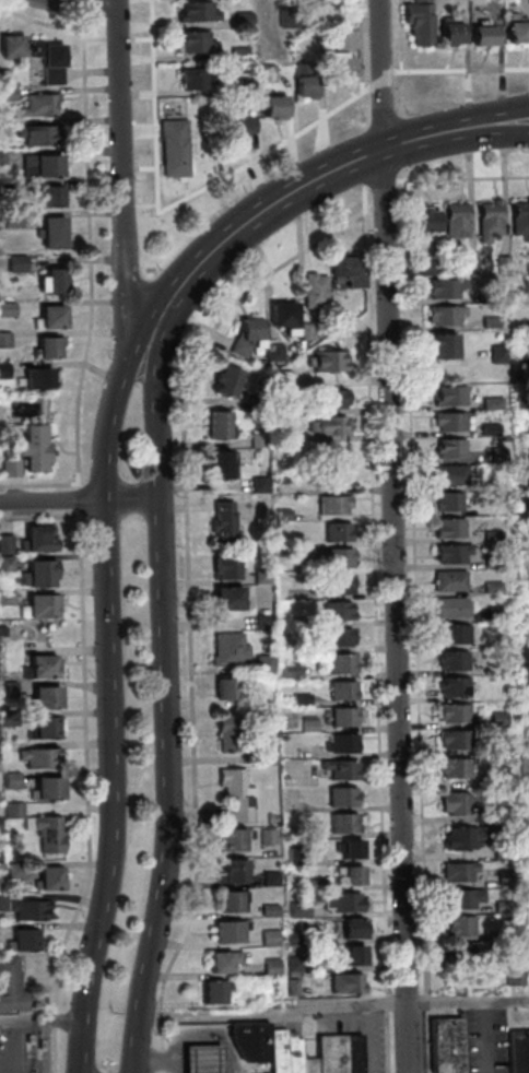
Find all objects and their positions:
road: (83, 1)
building: (311, 2)
road: (80, 5)
building: (195, 12)
building: (242, 17)
building: (287, 17)
road: (38, 22)
building: (416, 22)
building: (447, 32)
building: (514, 34)
building: (481, 36)
road: (139, 38)
road: (92, 39)
road: (115, 39)
building: (342, 39)
building: (192, 43)
building: (10, 48)
building: (236, 55)
road: (398, 59)
building: (47, 61)
building: (337, 66)
road: (361, 66)
road: (459, 70)
building: (264, 73)
building: (3, 76)
building: (192, 79)
road: (379, 82)
building: (244, 85)
building: (303, 86)
building: (7, 94)
building: (37, 105)
building: (271, 107)
road: (513, 121)
building: (234, 128)
road: (513, 129)
building: (35, 134)
road: (401, 143)
building: (172, 148)
building: (0, 156)
road: (362, 158)
building: (39, 166)
road: (120, 169)
road: (461, 178)
road: (379, 184)
road: (298, 189)
road: (364, 189)
building: (45, 198)
road: (377, 205)
road: (168, 207)
building: (11, 220)
building: (519, 220)
building: (423, 221)
building: (486, 221)
building: (452, 223)
building: (50, 233)
road: (86, 250)
building: (14, 262)
building: (528, 262)
building: (501, 263)
building: (466, 266)
building: (425, 268)
building: (344, 271)
building: (50, 282)
building: (443, 287)
building: (313, 291)
building: (490, 295)
building: (5, 309)
building: (443, 315)
building: (282, 318)
building: (48, 319)
building: (489, 322)
building: (522, 322)
building: (304, 331)
building: (246, 337)
building: (3, 340)
building: (440, 347)
building: (46, 349)
building: (272, 352)
building: (496, 353)
building: (326, 362)
building: (258, 363)
building: (2, 369)
building: (522, 375)
building: (280, 378)
building: (35, 379)
building: (224, 382)
building: (448, 394)
building: (331, 399)
building: (490, 402)
building: (521, 402)
building: (254, 403)
building: (278, 409)
building: (448, 422)
building: (215, 426)
building: (329, 426)
building: (527, 428)
building: (487, 429)
building: (279, 436)
building: (256, 440)
building: (449, 448)
building: (32, 449)
building: (527, 455)
building: (219, 464)
building: (9, 469)
building: (448, 475)
building: (330, 479)
building: (487, 483)
building: (527, 483)
road: (37, 484)
building: (256, 484)
road: (75, 499)
road: (79, 499)
building: (446, 502)
building: (331, 505)
building: (524, 505)
road: (38, 516)
building: (221, 521)
building: (447, 528)
building: (334, 532)
building: (491, 535)
road: (391, 536)
building: (36, 540)
building: (4, 544)
building: (449, 554)
building: (331, 557)
building: (495, 562)
building: (4, 563)
building: (223, 569)
building: (37, 574)
building: (259, 576)
building: (447, 581)
building: (338, 585)
building: (490, 588)
building: (5, 598)
road: (186, 599)
building: (225, 600)
building: (37, 606)
building: (448, 608)
building: (334, 612)
building: (493, 613)
building: (293, 621)
road: (413, 621)
building: (260, 622)
building: (528, 626)
road: (373, 628)
building: (1, 630)
building: (452, 635)
building: (334, 638)
building: (226, 650)
building: (451, 661)
building: (261, 664)
building: (338, 664)
building: (37, 669)
building: (287, 671)
building: (527, 684)
building: (452, 687)
building: (7, 689)
building: (226, 689)
building: (340, 691)
road: (107, 697)
building: (40, 698)
building: (298, 699)
road: (164, 703)
building: (451, 714)
building: (526, 715)
building: (343, 717)
building: (7, 718)
building: (496, 719)
building: (306, 724)
building: (43, 729)
road: (83, 734)
building: (226, 734)
building: (266, 736)
building: (454, 740)
building: (340, 744)
building: (528, 745)
building: (262, 755)
building: (37, 757)
building: (452, 768)
building: (339, 769)
building: (493, 776)
building: (10, 780)
building: (45, 790)
building: (233, 793)
building: (340, 797)
building: (451, 803)
building: (11, 810)
building: (484, 815)
building: (342, 823)
building: (45, 833)
building: (264, 836)
building: (461, 838)
building: (230, 840)
building: (346, 849)
building: (499, 850)
building: (293, 856)
building: (12, 871)
building: (231, 872)
building: (457, 872)
building: (348, 875)
building: (504, 877)
building: (268, 879)
building: (48, 880)
building: (310, 885)
building: (461, 899)
building: (344, 903)
building: (228, 904)
building: (503, 907)
building: (296, 909)
building: (25, 910)
building: (268, 910)
building: (458, 925)
building: (350, 930)
building: (227, 931)
building: (512, 933)
building: (268, 938)
building: (292, 940)
building: (24, 941)
building: (475, 951)
building: (360, 954)
building: (228, 960)
building: (302, 963)
building: (277, 967)
building: (520, 967)
building: (352, 982)
building: (14, 984)
building: (297, 987)
building: (220, 990)
road: (336, 1005)
road: (59, 1013)
road: (43, 1019)
road: (214, 1037)
road: (489, 1038)
building: (256, 1039)
building: (451, 1045)
road: (50, 1046)
road: (17, 1047)
road: (38, 1047)
parking lot: (13, 1050)
building: (283, 1050)
building: (521, 1051)
building: (298, 1053)
building: (344, 1053)
building: (207, 1058)
road: (168, 1060)
building: (315, 1065)
road: (82, 1072)
road: (84, 1072)
road: (138, 1072)
road: (138, 1072)

